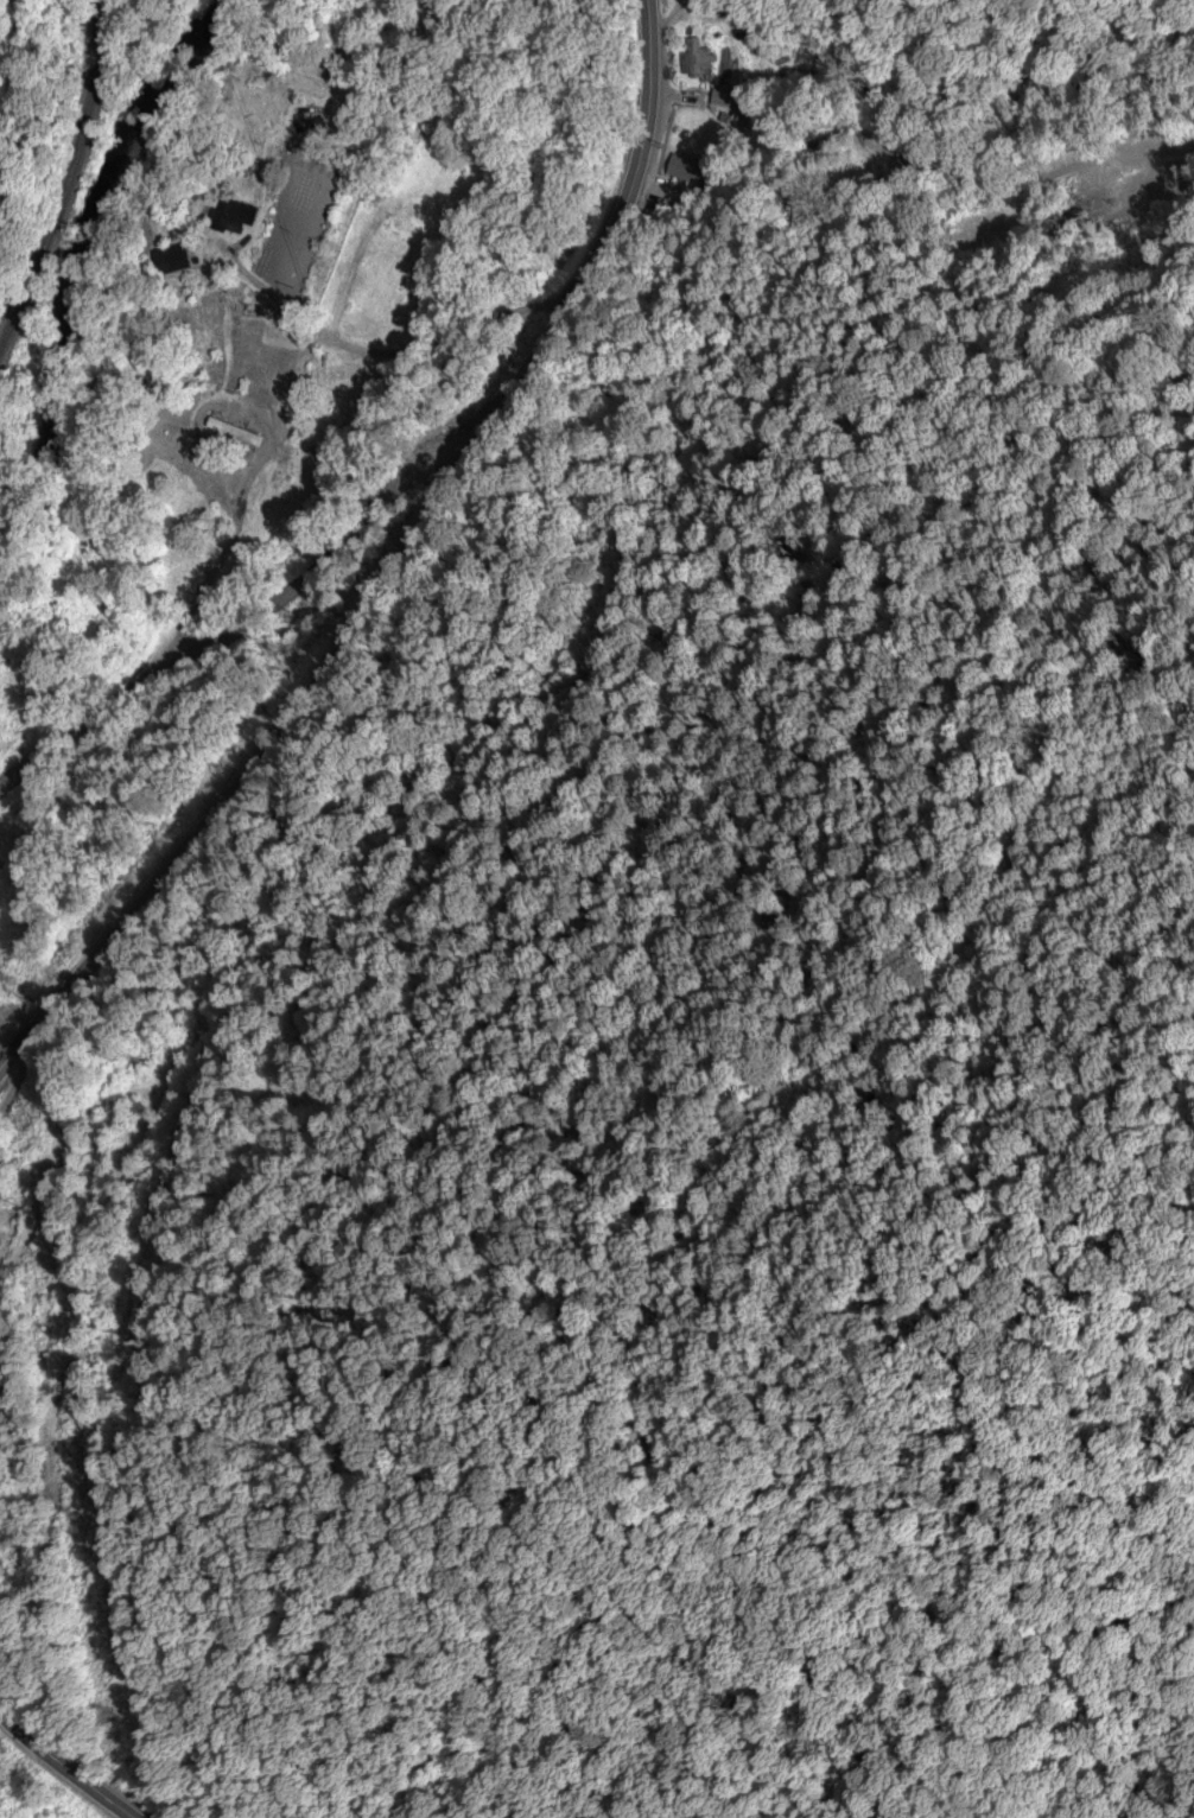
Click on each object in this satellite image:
building: (697, 59)
building: (685, 167)
railway: (68, 185)
building: (235, 216)
building: (170, 258)
river: (99, 275)
road: (387, 318)
building: (233, 430)
road: (373, 561)
road: (244, 585)
power tower: (11, 980)
power tower: (77, 1518)
road: (172, 1639)
power tower: (106, 1715)
road: (63, 1762)
river: (5, 1814)

